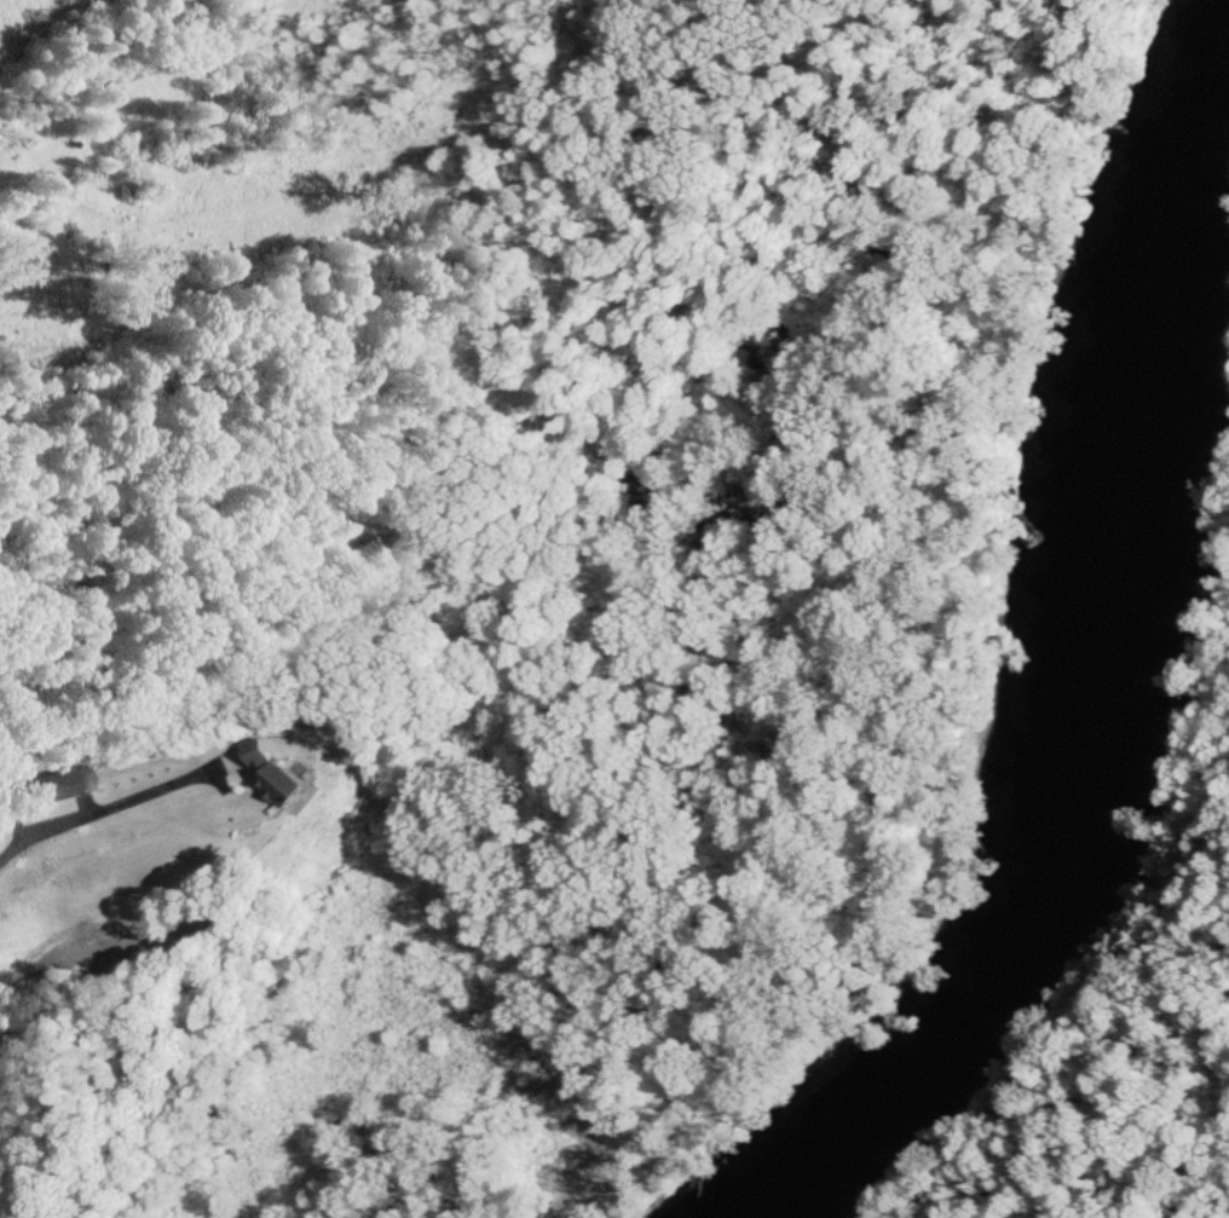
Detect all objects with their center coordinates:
river: (1112, 671)
road: (97, 812)

